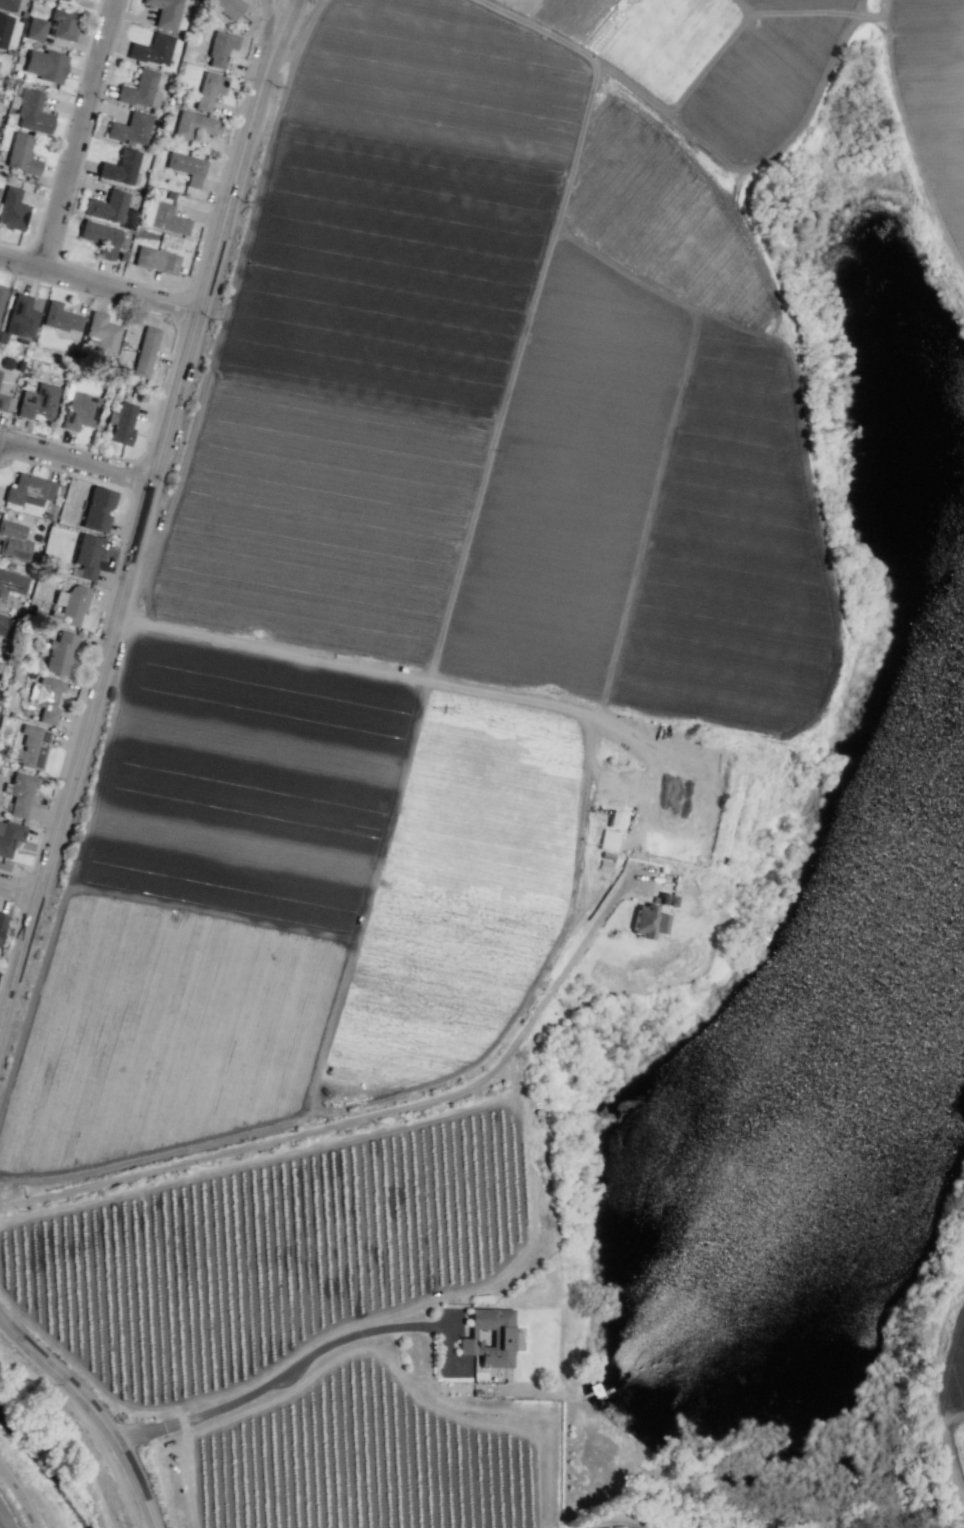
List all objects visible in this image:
building: (63, 0)
building: (8, 5)
building: (228, 7)
building: (164, 13)
building: (62, 23)
road: (268, 25)
building: (35, 28)
building: (4, 29)
building: (220, 48)
building: (152, 49)
building: (45, 65)
building: (209, 89)
building: (140, 90)
road: (252, 107)
building: (32, 111)
building: (193, 124)
building: (130, 128)
road: (84, 134)
building: (21, 153)
building: (120, 167)
building: (186, 167)
building: (107, 206)
building: (12, 209)
building: (163, 217)
building: (102, 237)
building: (155, 259)
road: (210, 265)
road: (99, 283)
building: (1, 293)
building: (20, 317)
building: (59, 317)
building: (101, 335)
building: (145, 351)
building: (5, 391)
building: (38, 402)
building: (80, 411)
building: (122, 423)
road: (0, 438)
road: (0, 440)
road: (76, 459)
building: (29, 490)
building: (97, 509)
building: (13, 541)
building: (86, 555)
park: (875, 562)
building: (11, 583)
building: (71, 605)
building: (2, 624)
road: (100, 667)
road: (430, 679)
building: (47, 698)
building: (31, 747)
building: (20, 794)
building: (613, 819)
building: (9, 836)
crop: (469, 840)
building: (607, 840)
road: (17, 889)
building: (650, 916)
building: (1, 921)
crop: (5, 994)
road: (361, 1117)
building: (489, 1336)
road: (282, 1374)
road: (93, 1412)
road: (18, 1497)
crop: (2, 1524)

